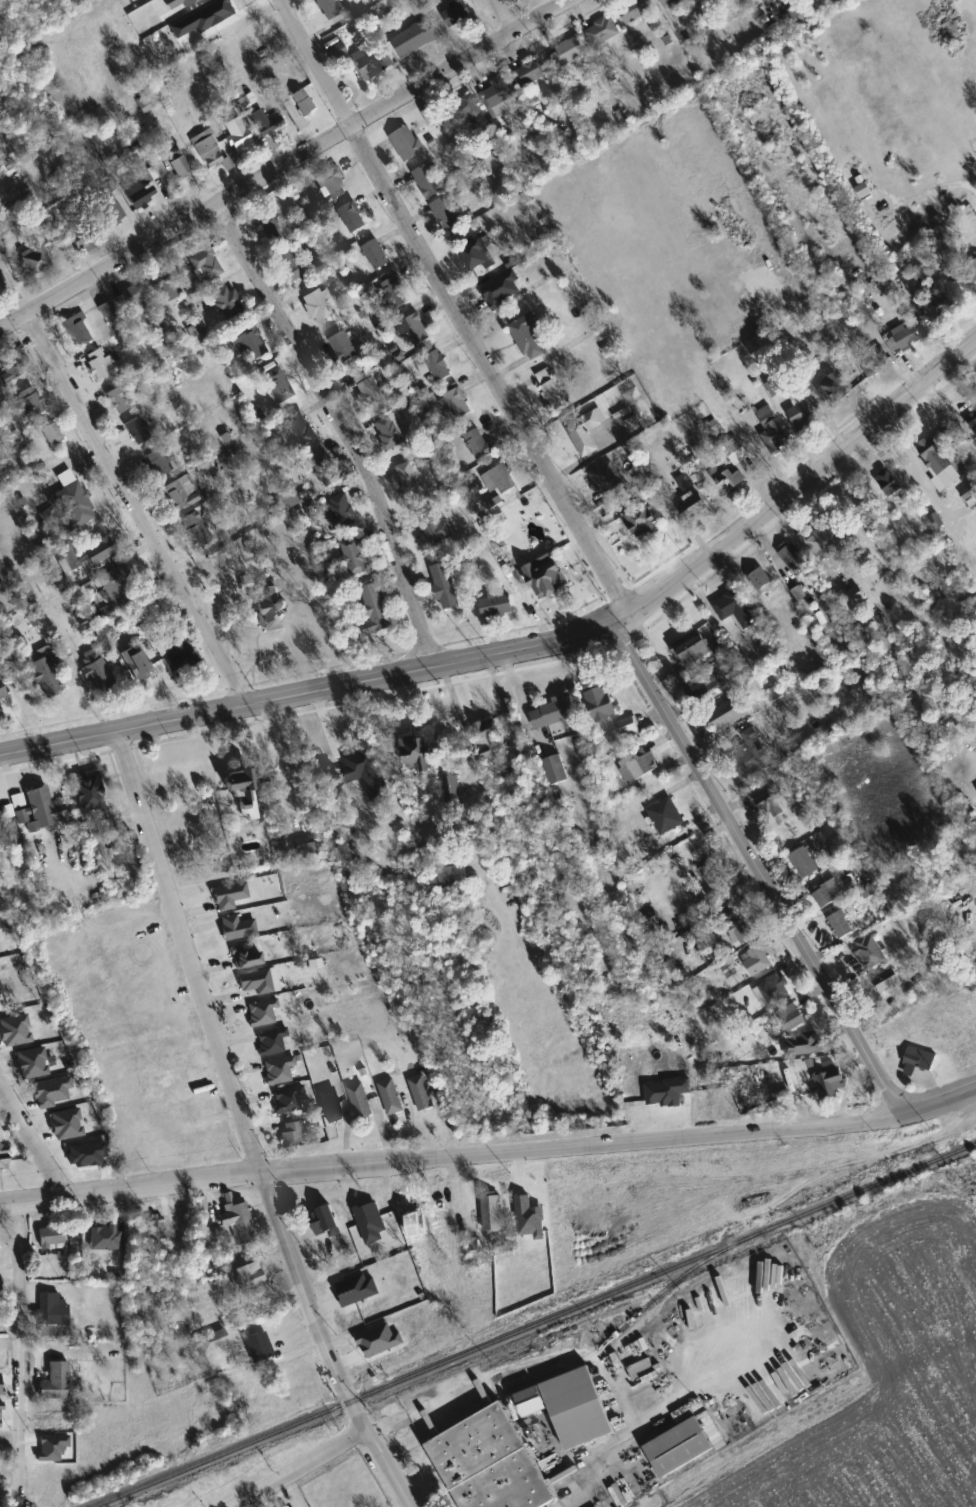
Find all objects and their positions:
building: (681, 1)
building: (667, 2)
building: (329, 8)
building: (635, 10)
building: (460, 11)
road: (505, 15)
building: (602, 31)
building: (415, 37)
building: (569, 52)
building: (370, 62)
building: (529, 73)
building: (498, 91)
building: (302, 102)
building: (467, 109)
building: (265, 123)
building: (237, 135)
building: (407, 143)
building: (208, 149)
road: (284, 165)
building: (178, 168)
building: (427, 182)
building: (333, 184)
road: (938, 187)
building: (136, 191)
building: (112, 210)
building: (445, 213)
building: (353, 217)
building: (3, 224)
building: (272, 227)
building: (24, 232)
building: (83, 234)
building: (377, 255)
building: (478, 256)
building: (34, 257)
building: (205, 264)
building: (291, 264)
building: (973, 268)
building: (163, 286)
building: (393, 293)
building: (126, 299)
building: (227, 302)
building: (318, 305)
road: (454, 308)
building: (106, 309)
building: (78, 330)
building: (417, 330)
building: (527, 337)
building: (903, 338)
building: (248, 341)
building: (344, 348)
building: (874, 362)
building: (103, 365)
building: (435, 367)
building: (10, 371)
building: (277, 384)
building: (368, 390)
building: (552, 390)
building: (833, 391)
building: (119, 400)
building: (458, 404)
building: (32, 406)
building: (637, 410)
building: (802, 413)
building: (974, 425)
road: (347, 428)
building: (301, 429)
building: (772, 429)
building: (137, 431)
building: (393, 431)
building: (585, 433)
building: (52, 434)
building: (479, 444)
building: (735, 451)
building: (934, 456)
building: (158, 463)
building: (325, 468)
building: (726, 479)
building: (409, 480)
building: (608, 480)
building: (888, 482)
road: (801, 486)
road: (125, 490)
building: (182, 493)
building: (71, 501)
building: (342, 511)
building: (640, 515)
building: (195, 529)
building: (435, 529)
building: (826, 541)
building: (89, 554)
building: (356, 556)
building: (794, 558)
building: (547, 576)
building: (760, 579)
building: (115, 584)
building: (445, 586)
building: (497, 606)
building: (376, 609)
building: (736, 609)
building: (270, 610)
building: (692, 649)
building: (178, 654)
building: (136, 663)
building: (96, 670)
building: (46, 676)
building: (705, 683)
building: (2, 692)
road: (312, 697)
building: (600, 701)
building: (1, 711)
building: (555, 711)
building: (728, 714)
building: (630, 728)
building: (488, 738)
building: (420, 755)
building: (751, 755)
building: (638, 763)
building: (555, 769)
building: (372, 774)
building: (451, 788)
building: (243, 791)
building: (88, 792)
building: (777, 809)
building: (41, 810)
building: (666, 816)
building: (1, 827)
building: (804, 862)
road: (762, 867)
building: (446, 876)
building: (714, 879)
building: (828, 894)
building: (229, 896)
building: (842, 926)
building: (237, 927)
building: (247, 955)
building: (757, 960)
building: (887, 980)
building: (255, 983)
building: (772, 990)
building: (262, 1013)
building: (793, 1020)
building: (271, 1041)
building: (805, 1045)
building: (920, 1058)
building: (278, 1070)
building: (829, 1083)
road: (230, 1086)
building: (422, 1094)
building: (391, 1097)
building: (289, 1100)
building: (360, 1100)
road: (941, 1101)
building: (330, 1105)
building: (290, 1137)
road: (32, 1140)
road: (453, 1153)
building: (4, 1161)
building: (361, 1212)
building: (493, 1212)
building: (236, 1219)
building: (156, 1228)
building: (53, 1236)
building: (246, 1279)
building: (52, 1310)
railway: (531, 1324)
building: (213, 1340)
building: (258, 1348)
road: (18, 1349)
building: (55, 1382)
building: (568, 1406)
building: (680, 1448)
building: (491, 1463)
road: (388, 1467)
road: (299, 1468)
road: (586, 1498)

